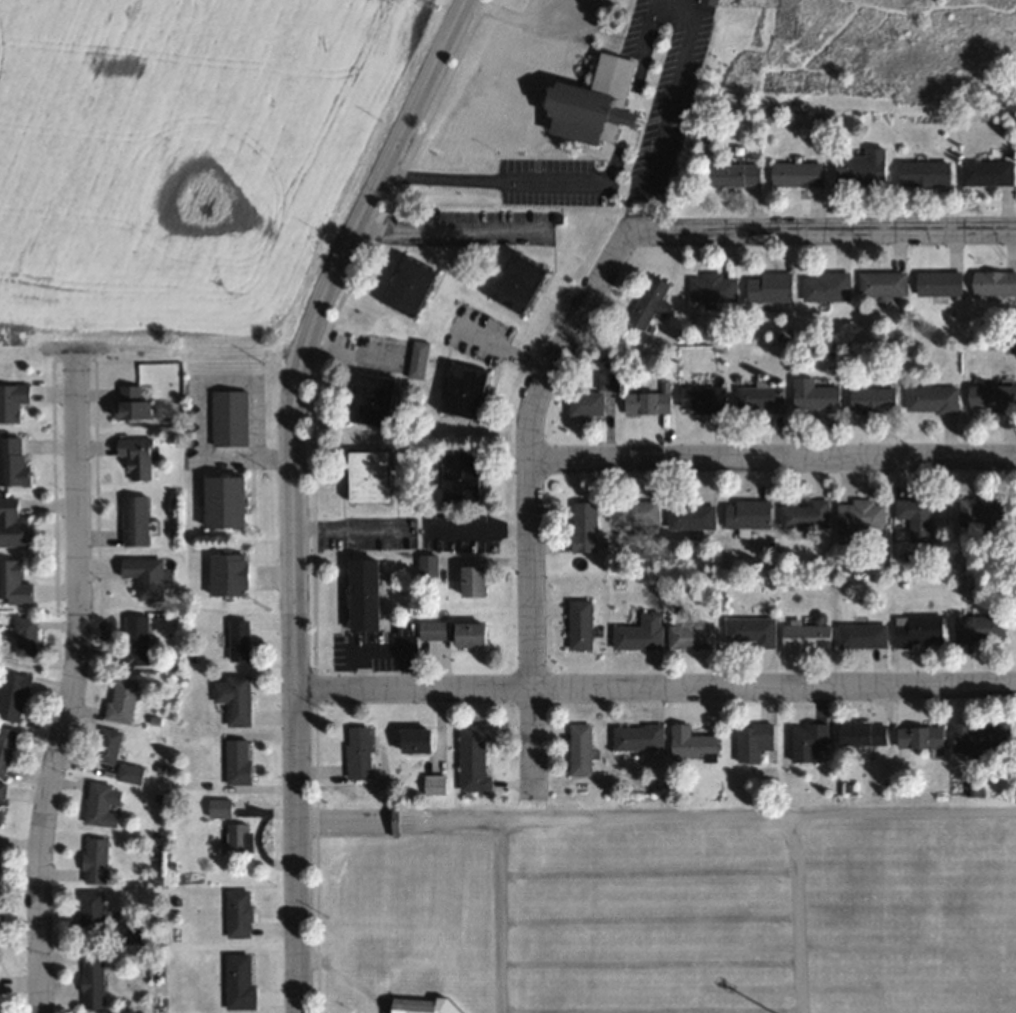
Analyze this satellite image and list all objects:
building: (713, 1)
road: (528, 20)
building: (598, 102)
crop: (188, 152)
building: (865, 167)
building: (927, 172)
building: (989, 172)
building: (800, 173)
road: (380, 174)
building: (736, 174)
road: (613, 185)
road: (797, 231)
building: (525, 282)
building: (941, 282)
building: (995, 282)
building: (884, 283)
building: (415, 285)
building: (772, 286)
building: (827, 286)
building: (714, 287)
building: (651, 302)
building: (419, 359)
building: (470, 390)
building: (817, 396)
building: (993, 396)
building: (594, 397)
building: (379, 399)
building: (705, 399)
building: (762, 399)
building: (876, 399)
building: (934, 399)
building: (135, 400)
building: (651, 400)
building: (14, 401)
building: (231, 417)
building: (139, 456)
road: (773, 458)
building: (14, 462)
building: (466, 475)
building: (372, 476)
building: (229, 501)
building: (636, 512)
building: (806, 513)
building: (986, 513)
building: (749, 514)
building: (693, 515)
building: (917, 517)
building: (860, 518)
building: (137, 519)
building: (15, 523)
building: (585, 526)
road: (479, 527)
road: (531, 530)
building: (429, 565)
building: (230, 574)
building: (147, 576)
building: (478, 580)
building: (15, 582)
building: (369, 594)
building: (581, 624)
building: (435, 629)
building: (921, 629)
building: (982, 629)
building: (753, 631)
building: (641, 632)
building: (474, 633)
building: (864, 634)
building: (26, 635)
building: (808, 635)
building: (695, 637)
building: (137, 639)
building: (241, 640)
road: (74, 680)
road: (295, 681)
road: (656, 687)
building: (14, 695)
building: (237, 698)
building: (123, 699)
building: (866, 732)
building: (639, 736)
building: (921, 736)
building: (983, 736)
building: (420, 740)
building: (757, 741)
building: (812, 742)
building: (695, 743)
building: (109, 744)
building: (7, 748)
building: (582, 749)
building: (360, 751)
building: (477, 757)
building: (240, 762)
building: (131, 772)
building: (437, 783)
building: (3, 791)
building: (104, 803)
building: (222, 808)
building: (2, 815)
road: (657, 816)
building: (237, 838)
building: (96, 859)
park: (677, 899)
building: (93, 909)
building: (240, 913)
road: (794, 914)
building: (132, 932)
building: (94, 978)
building: (241, 981)
building: (428, 1005)

